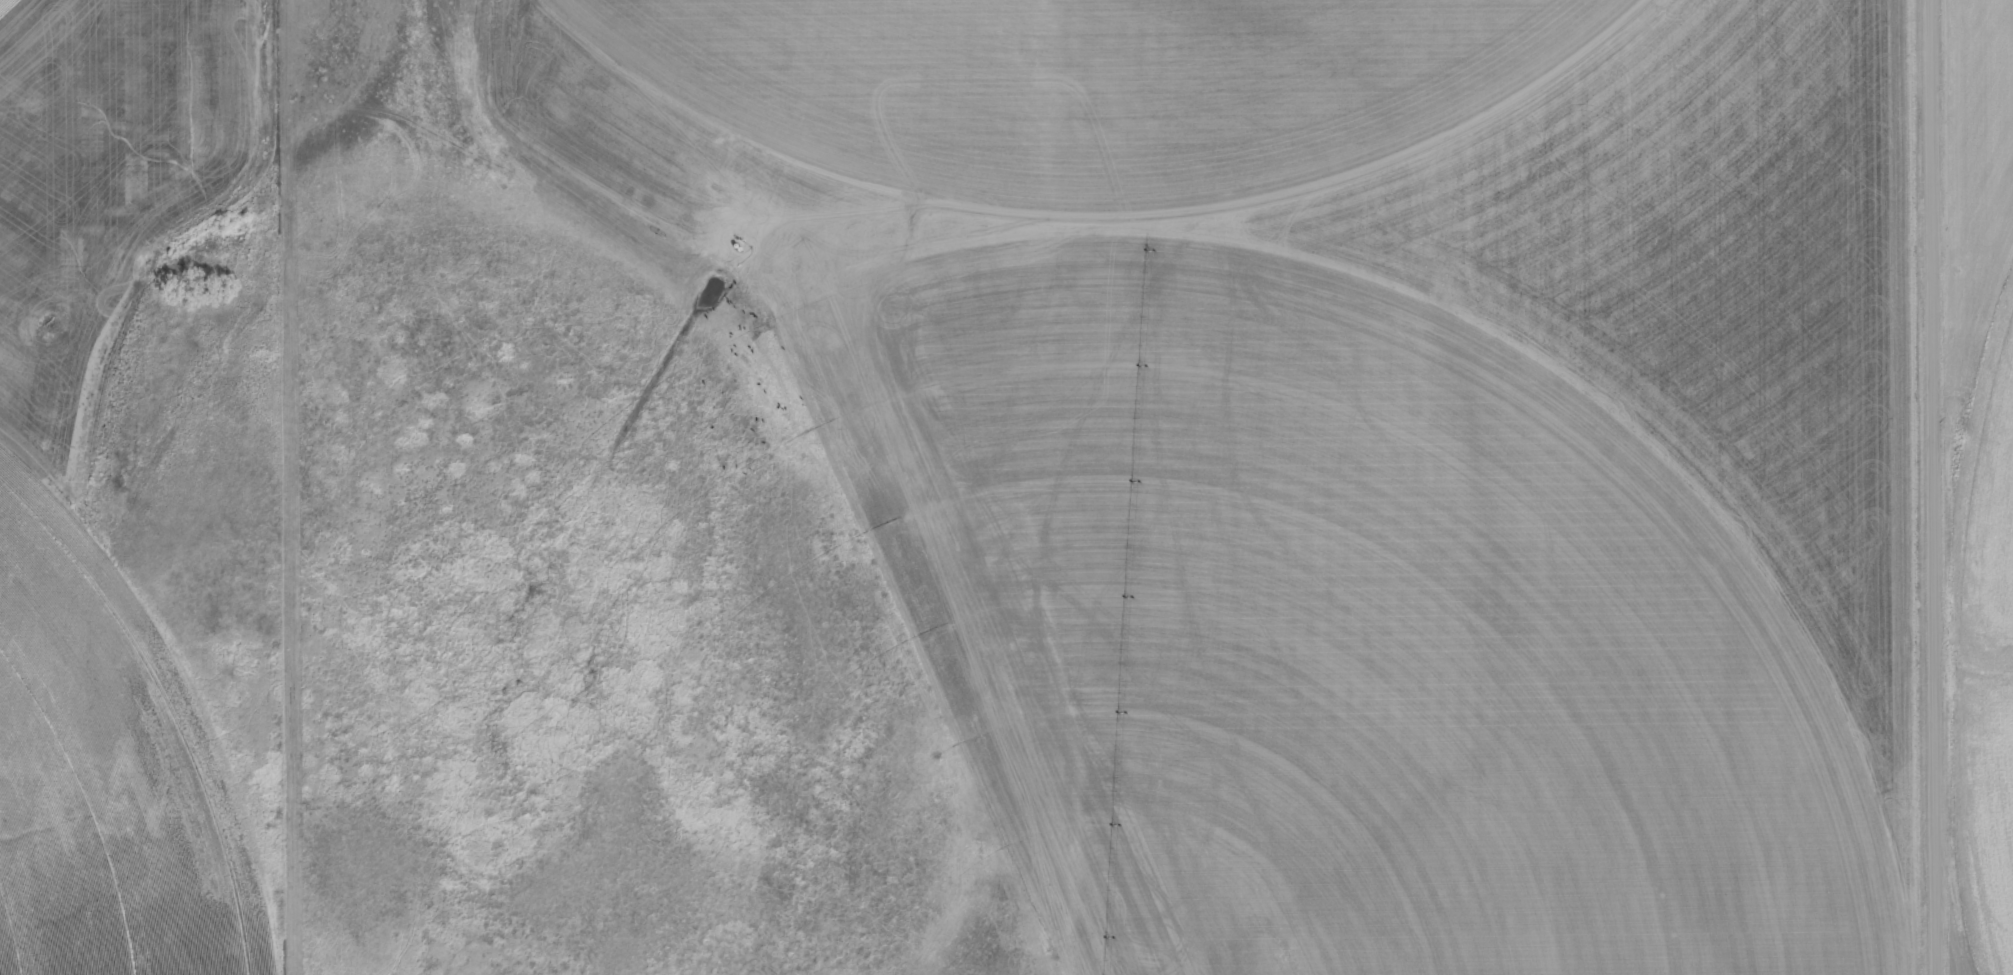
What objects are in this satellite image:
crop: (1086, 67)
road: (1931, 487)

